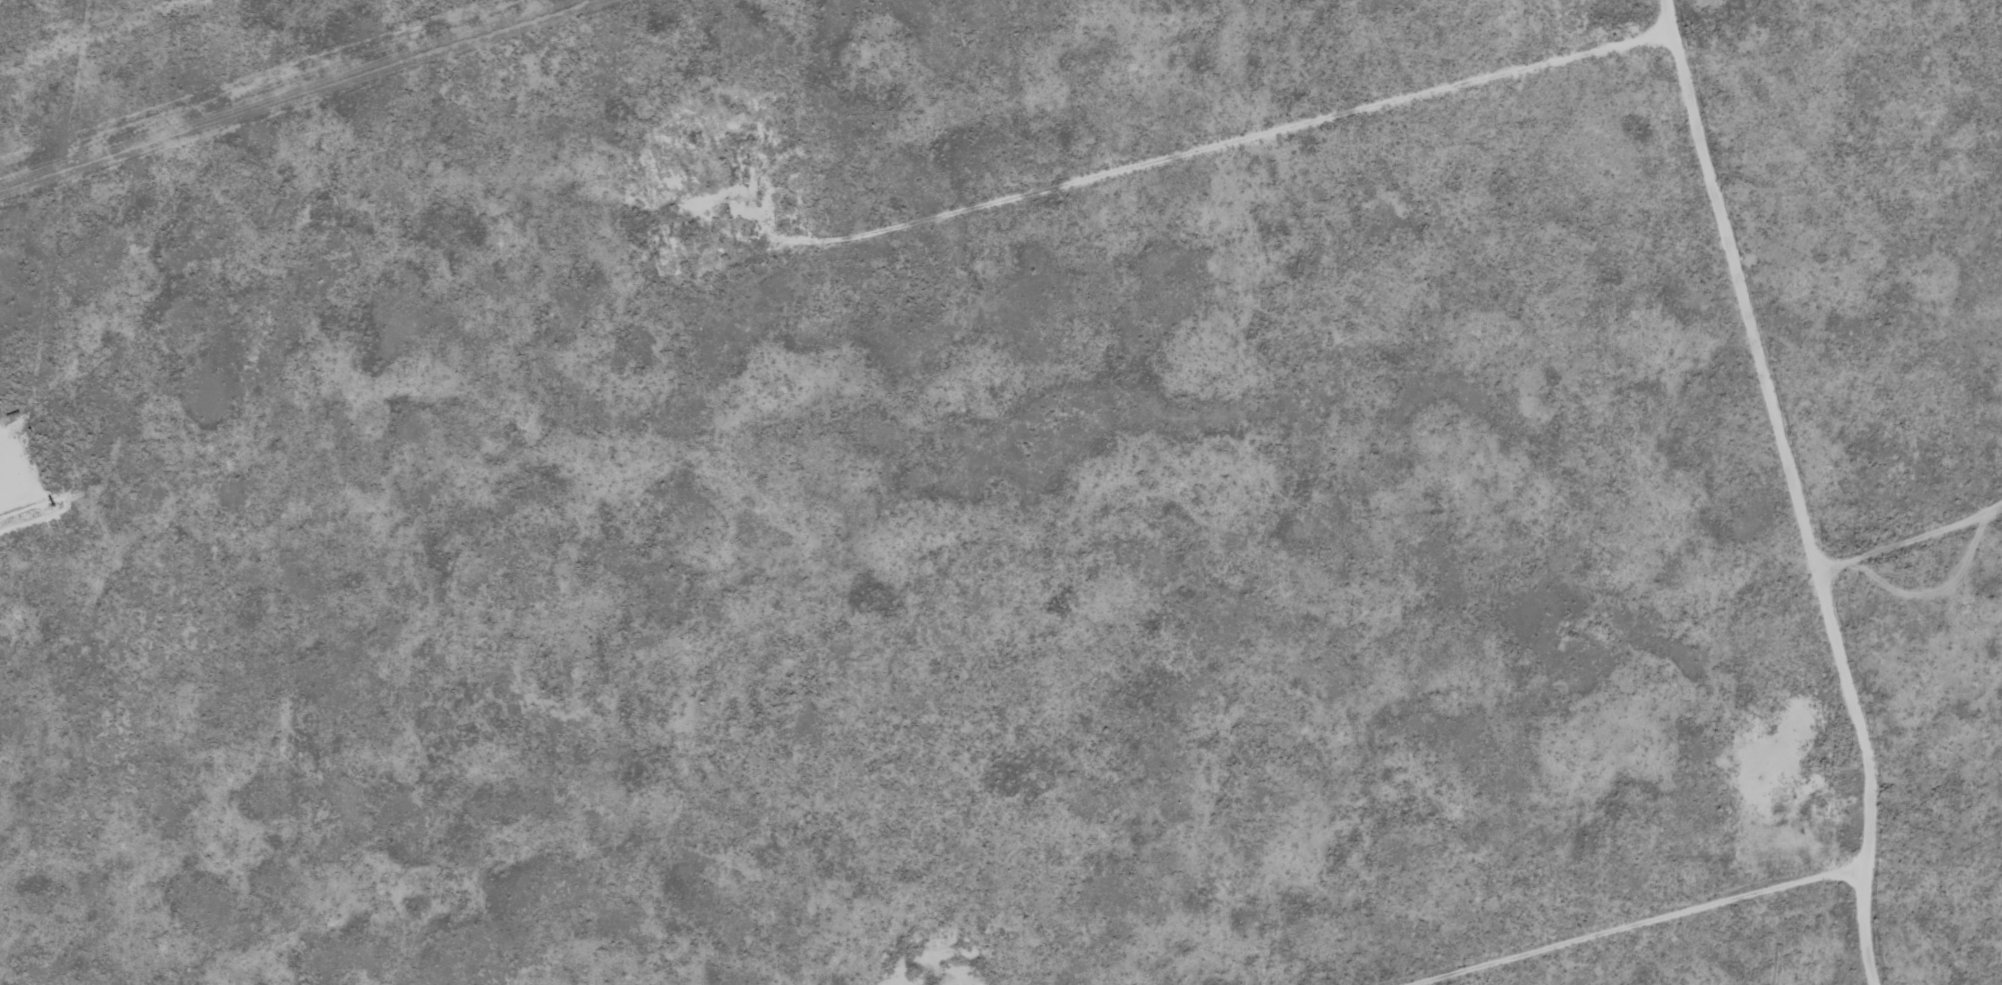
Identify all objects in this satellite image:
road: (1773, 394)
road: (1911, 539)
road: (1858, 886)

